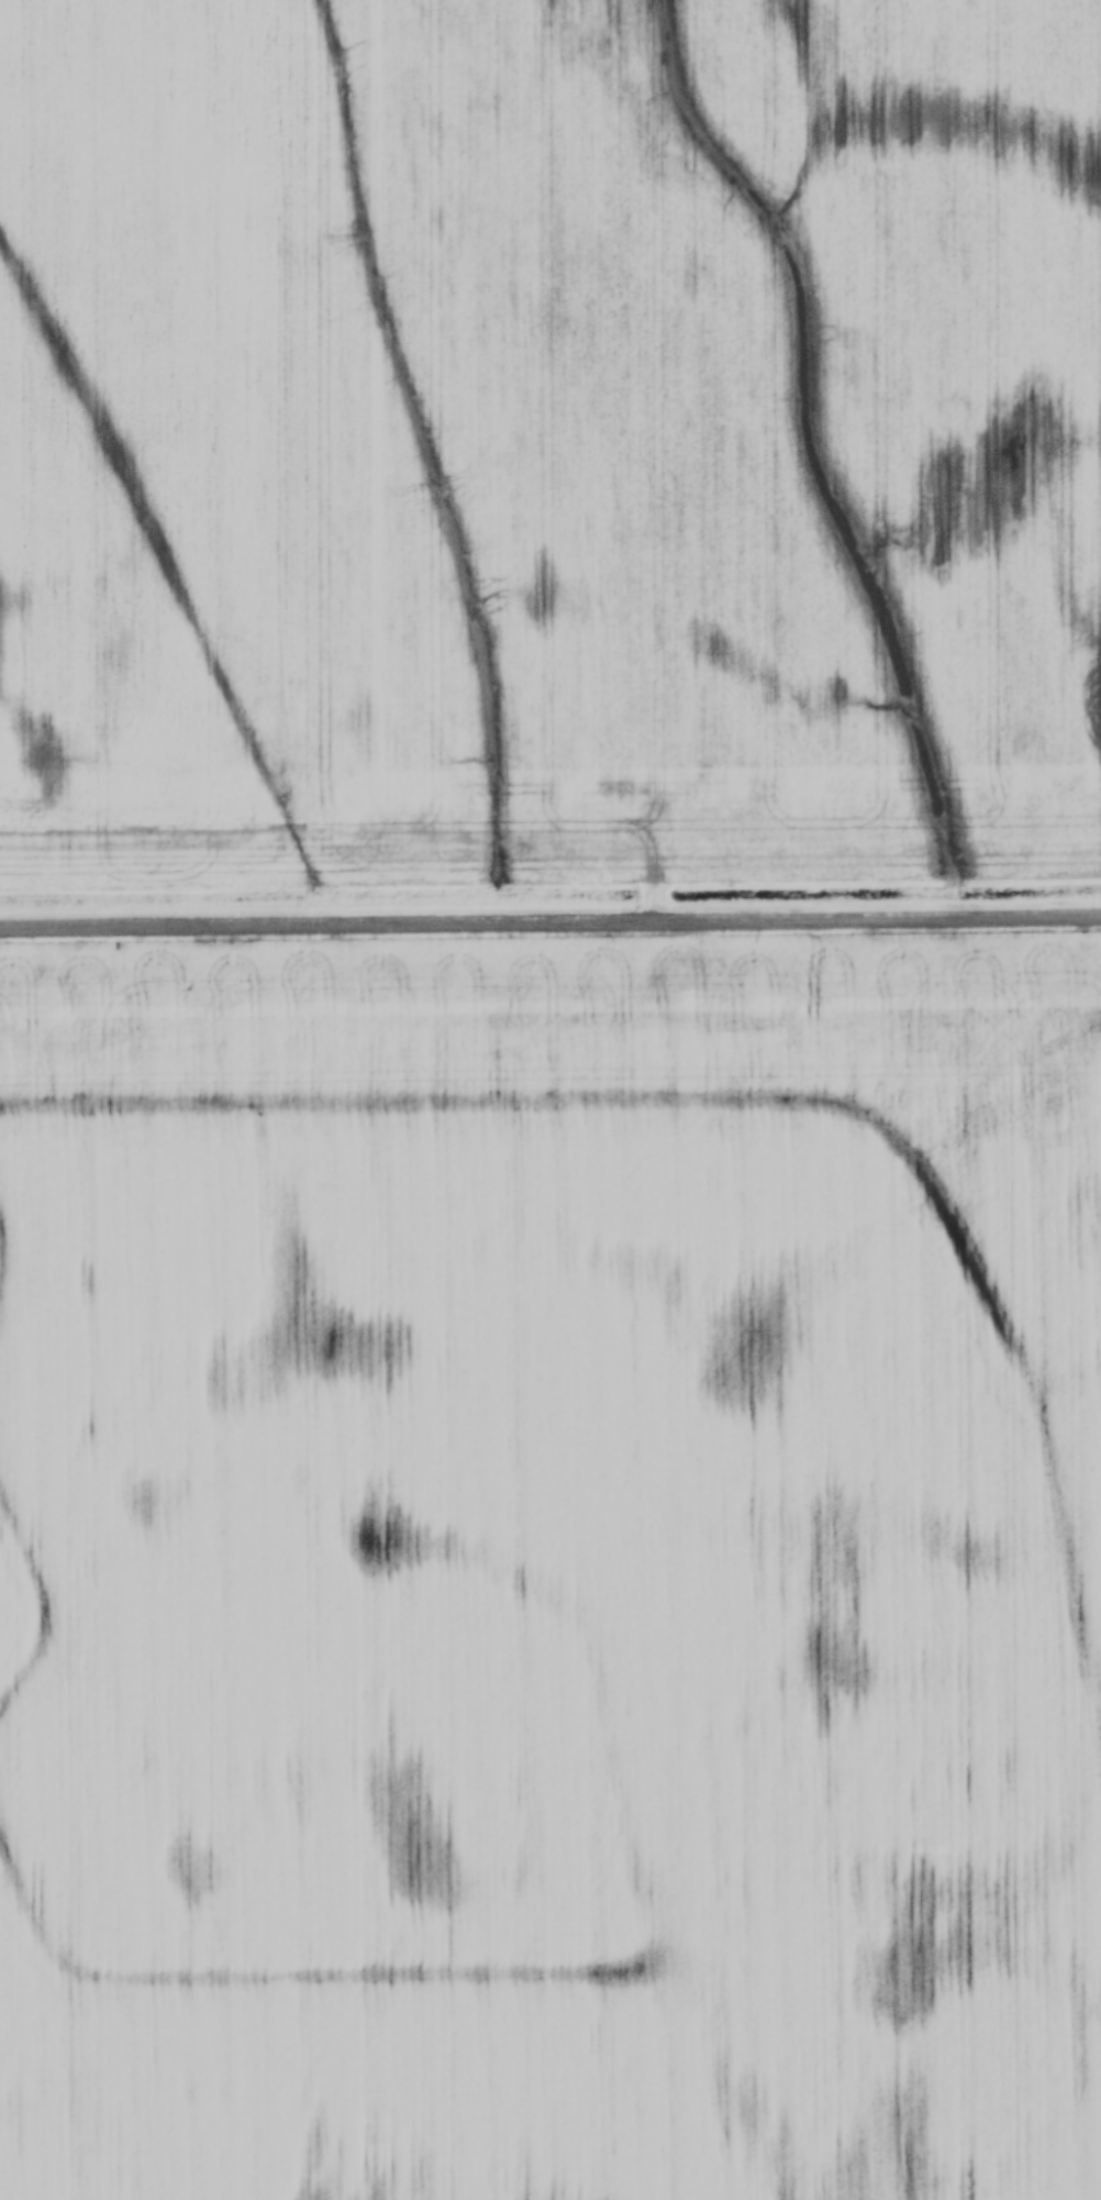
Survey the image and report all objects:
road: (550, 924)

